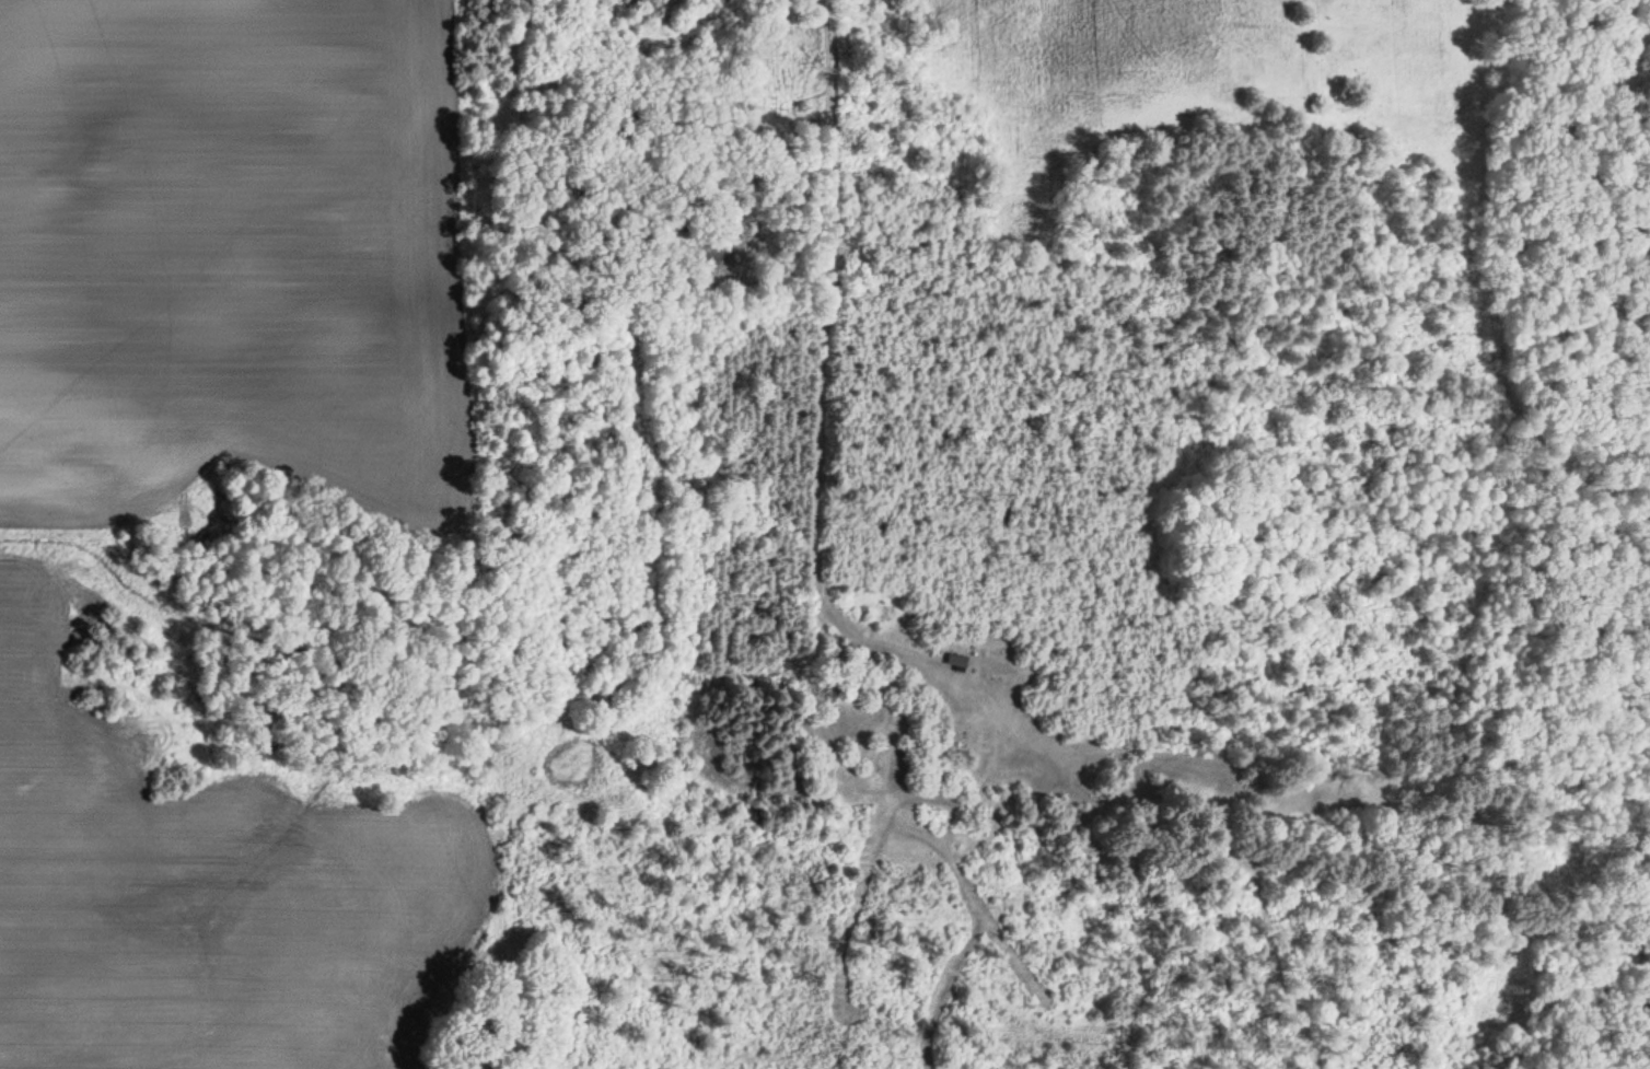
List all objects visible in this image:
building: (956, 661)

